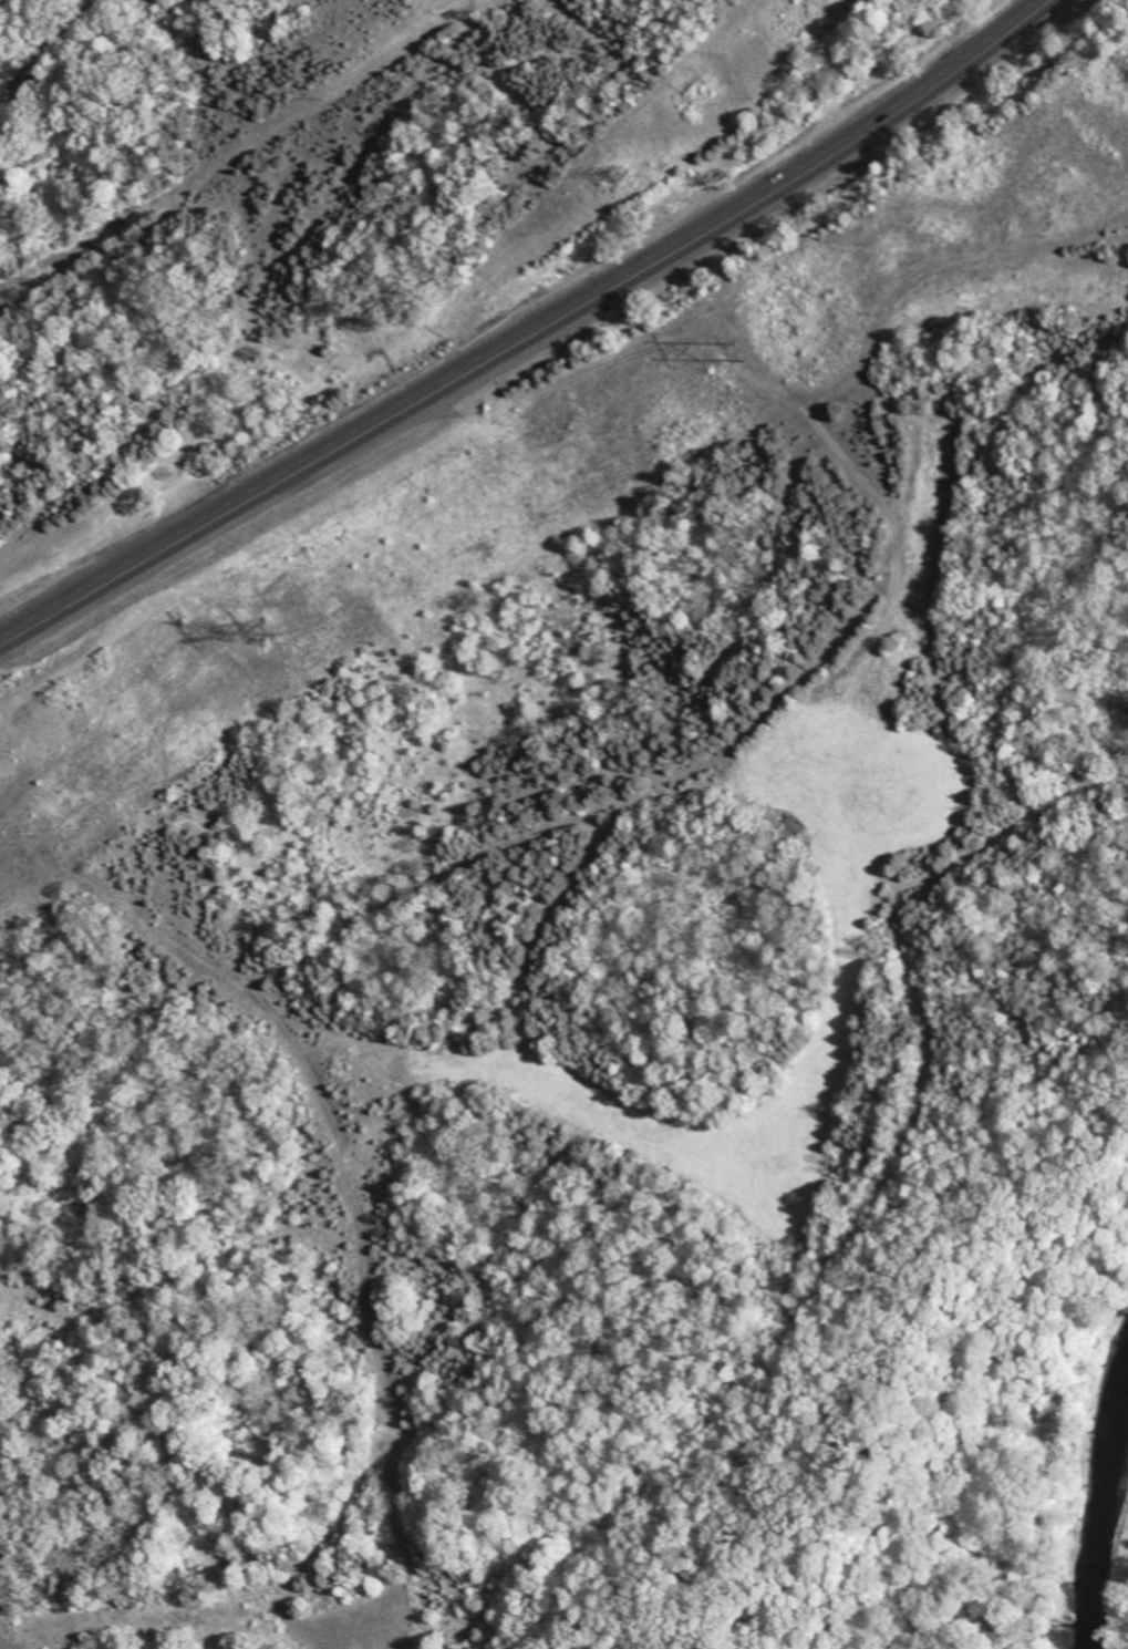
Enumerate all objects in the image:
road: (75, 73)
power tower: (615, 174)
road: (529, 330)
power tower: (741, 352)
power tower: (268, 635)

